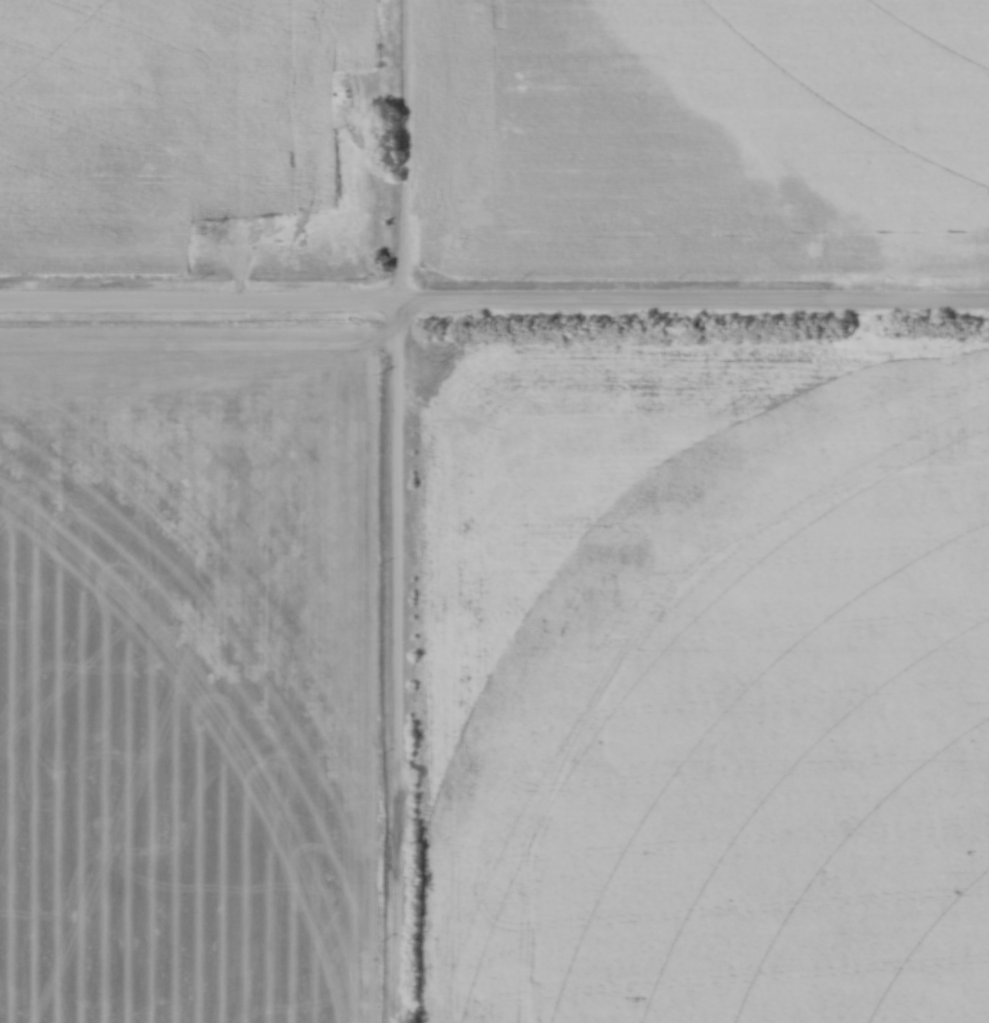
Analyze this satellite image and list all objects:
road: (494, 302)
road: (398, 511)

